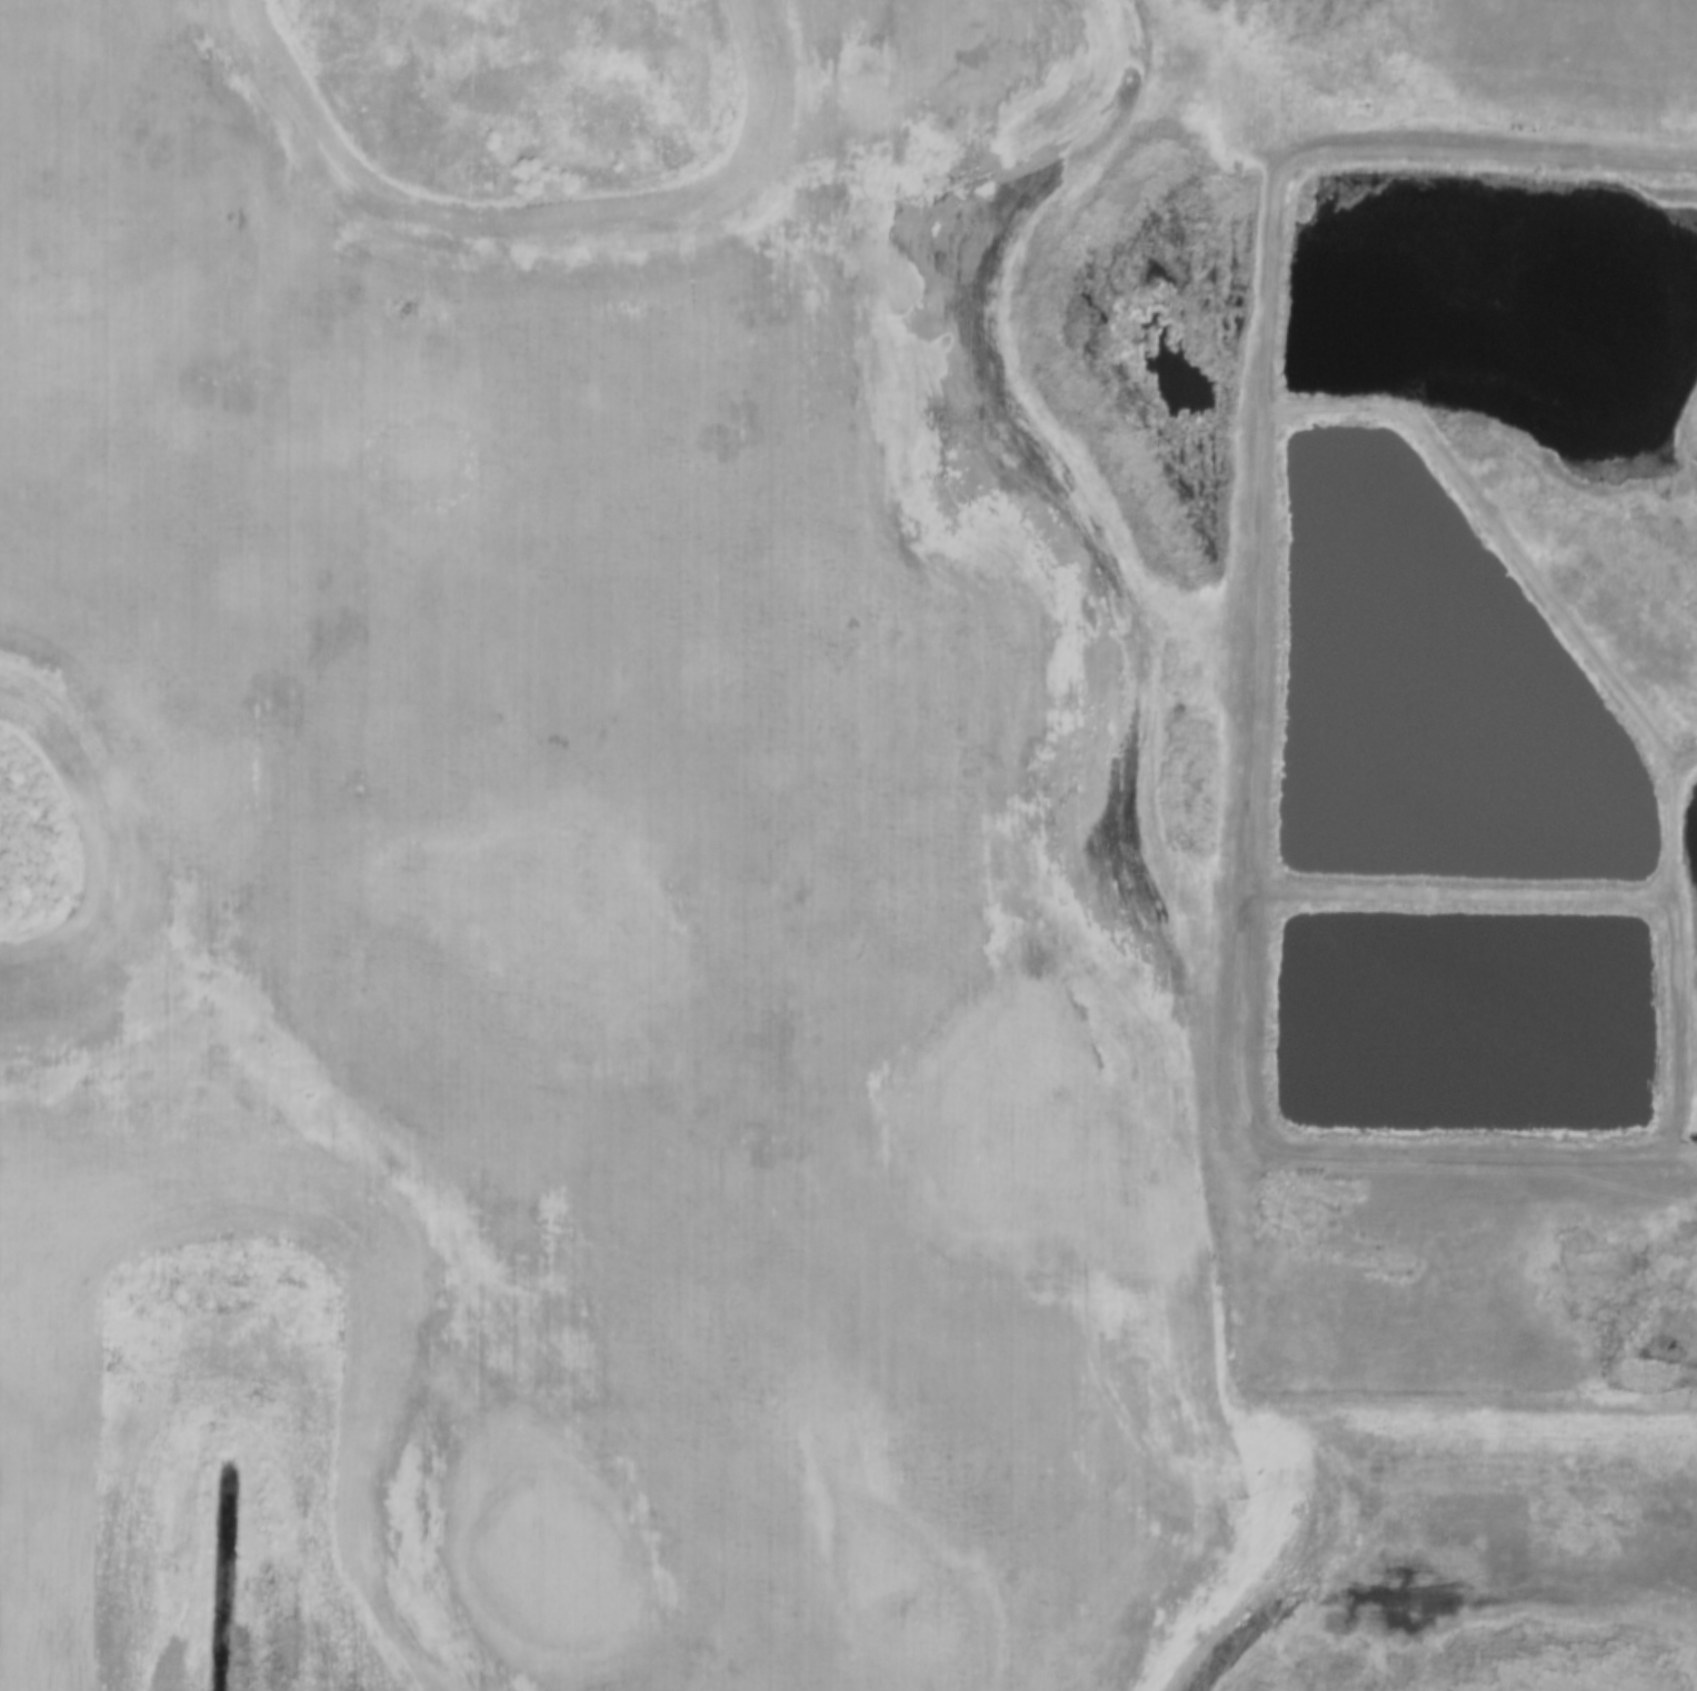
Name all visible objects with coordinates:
road: (1262, 448)

